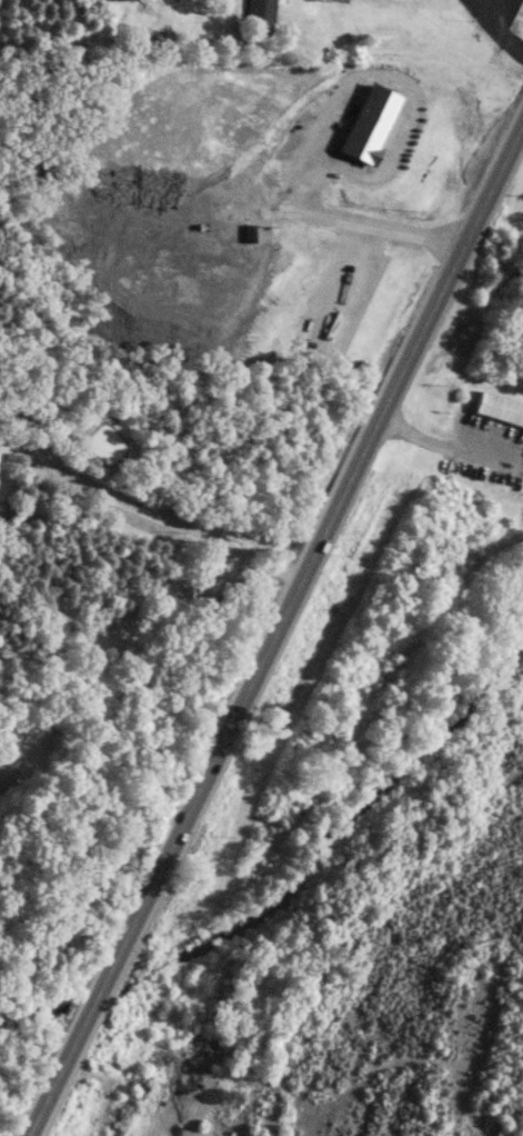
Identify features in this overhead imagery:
road: (473, 7)
building: (258, 10)
road: (506, 17)
road: (495, 31)
road: (388, 72)
road: (303, 217)
building: (500, 409)
road: (447, 446)
road: (353, 467)
road: (139, 514)
road: (123, 615)
road: (105, 976)

